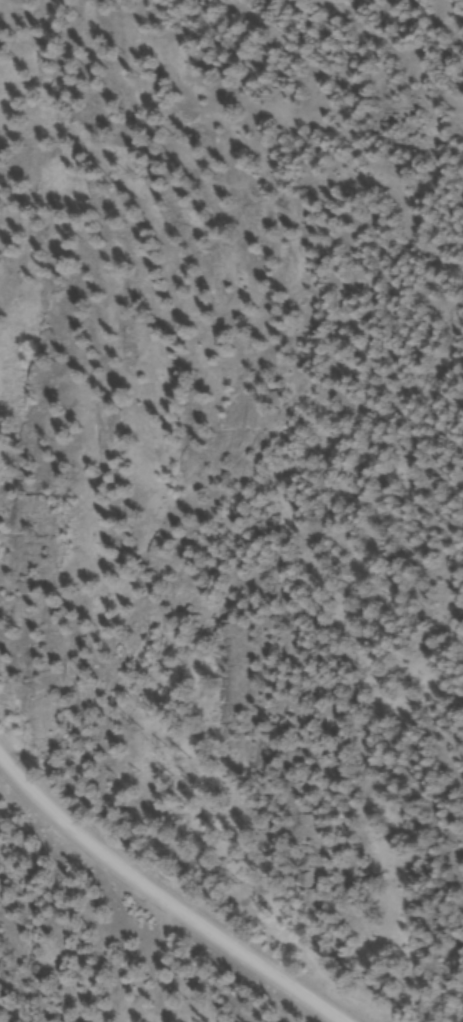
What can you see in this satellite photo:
road: (165, 899)

